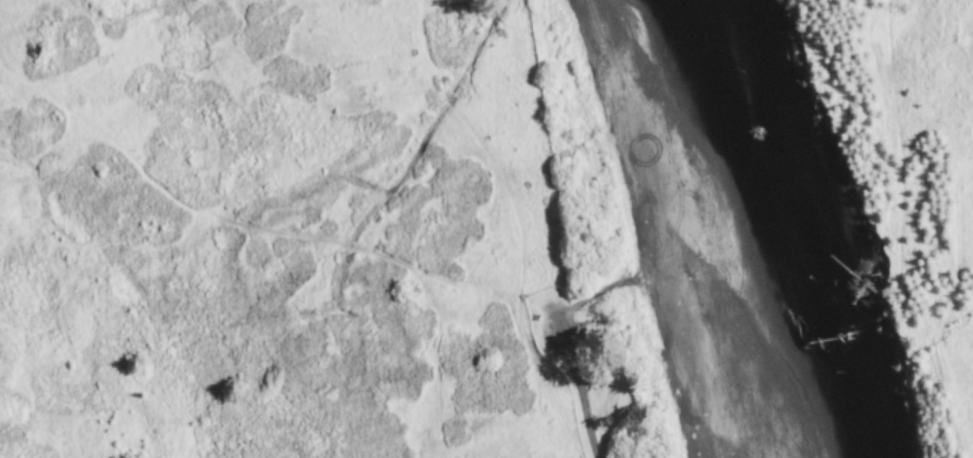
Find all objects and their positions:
river: (714, 224)
road: (257, 230)
road: (592, 294)
road: (577, 387)

